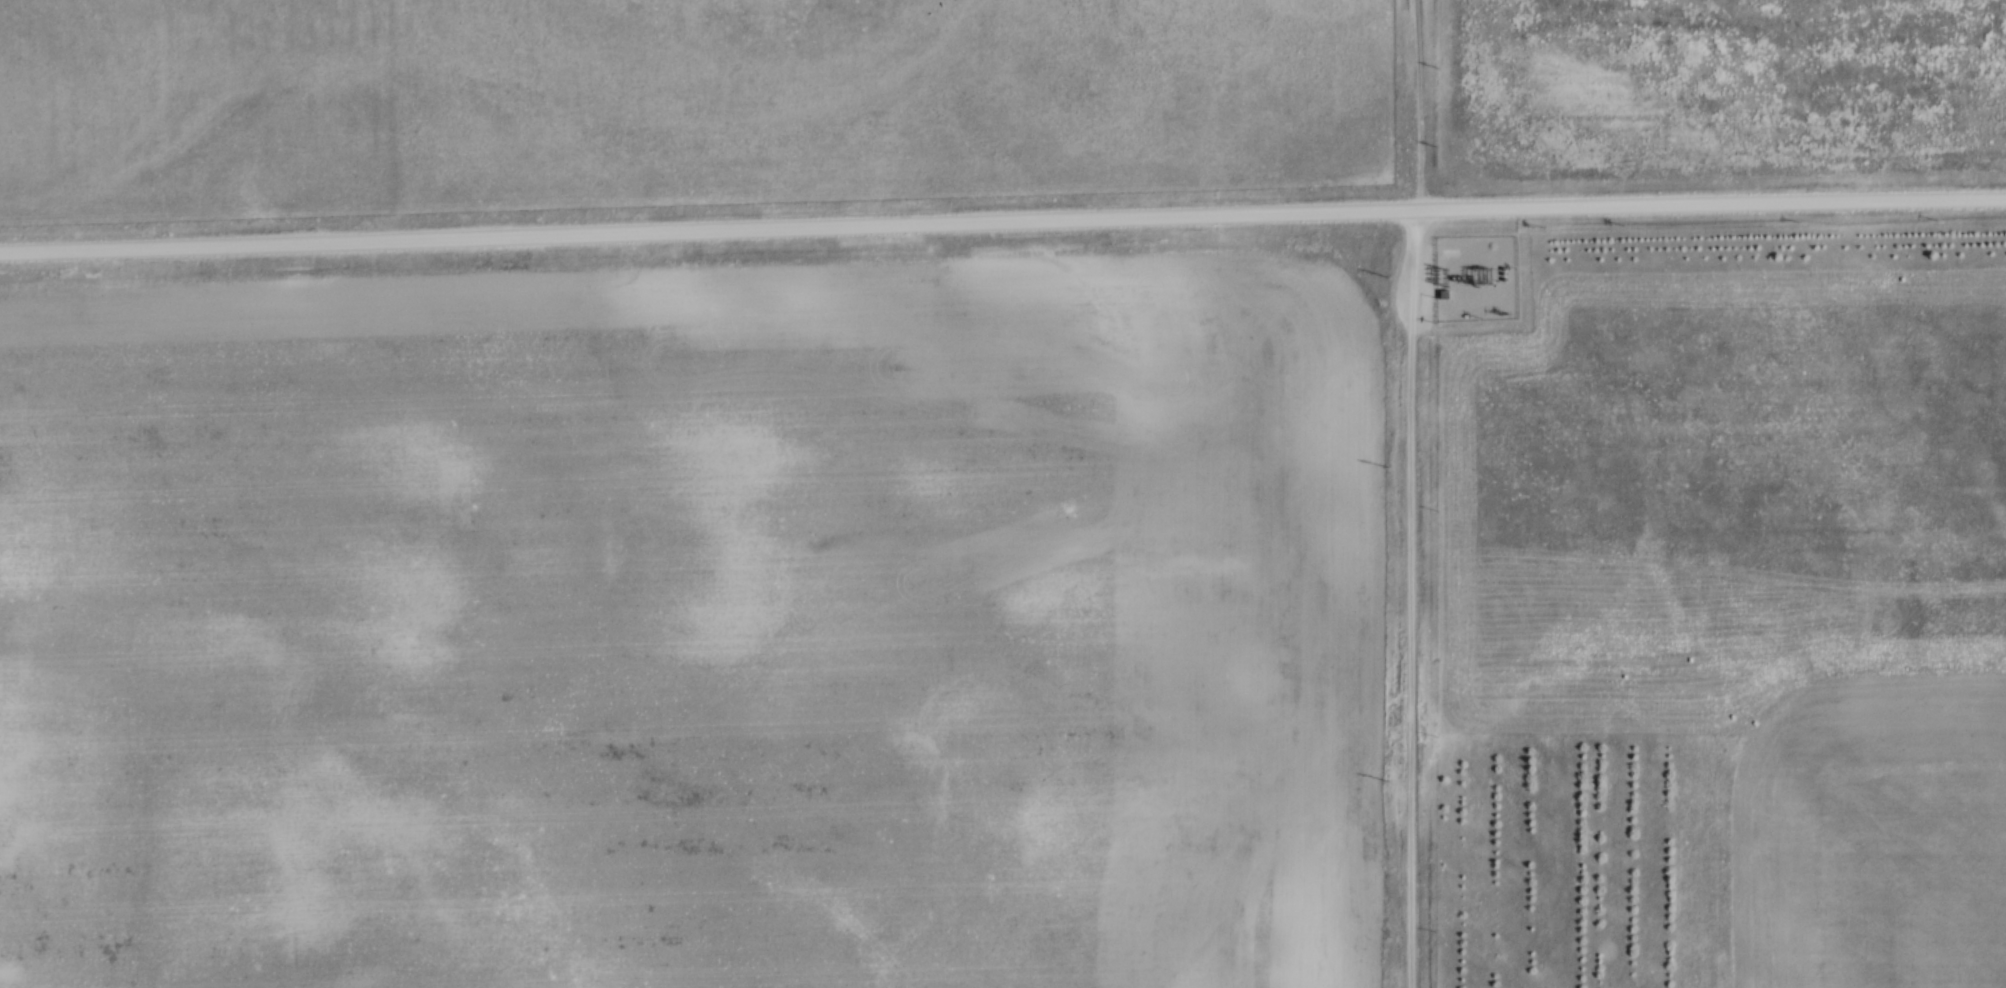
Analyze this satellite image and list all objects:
road: (1002, 221)
road: (1415, 493)

